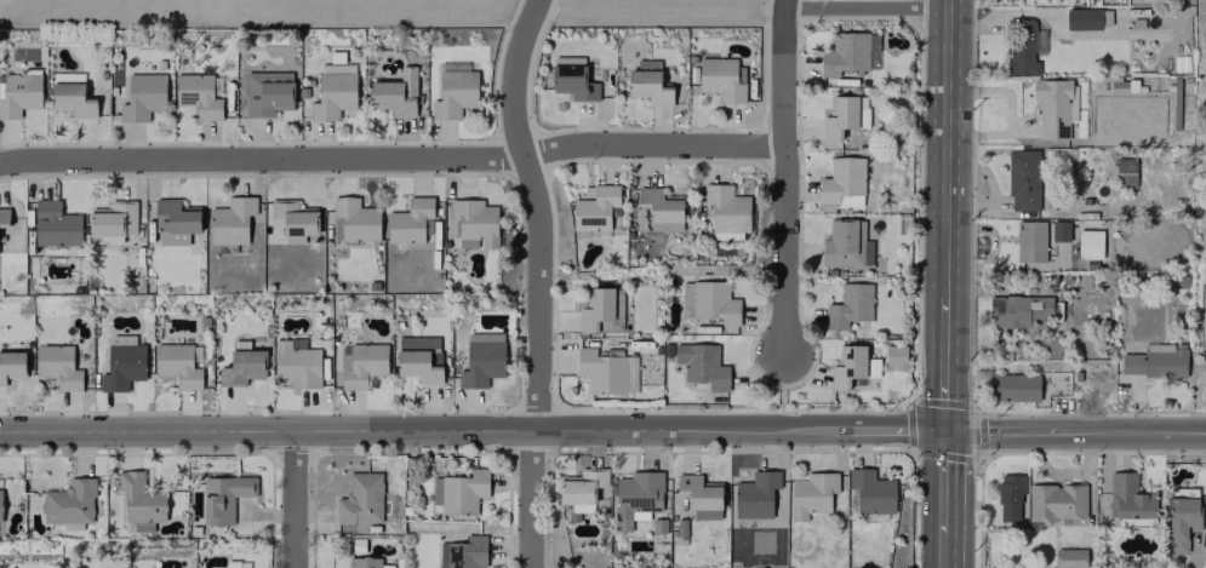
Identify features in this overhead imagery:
road: (864, 6)
building: (1082, 18)
building: (850, 53)
building: (63, 76)
building: (720, 79)
building: (572, 82)
building: (647, 82)
building: (333, 91)
building: (267, 92)
building: (19, 93)
building: (198, 93)
building: (395, 93)
building: (453, 93)
building: (142, 97)
building: (72, 99)
building: (1053, 107)
building: (841, 116)
road: (944, 139)
road: (390, 157)
building: (1125, 172)
road: (782, 177)
building: (1023, 179)
building: (842, 182)
building: (726, 207)
building: (595, 208)
building: (658, 210)
building: (295, 217)
building: (113, 218)
building: (356, 219)
building: (232, 220)
building: (408, 220)
building: (175, 222)
building: (475, 223)
building: (55, 224)
building: (1059, 230)
building: (726, 235)
building: (1030, 241)
building: (846, 243)
building: (1088, 243)
road: (536, 280)
building: (710, 300)
building: (848, 305)
building: (601, 309)
building: (1017, 310)
road: (943, 354)
building: (895, 356)
building: (419, 357)
building: (481, 358)
building: (1155, 360)
building: (122, 362)
building: (179, 363)
building: (11, 365)
building: (361, 365)
building: (702, 365)
building: (57, 366)
building: (295, 366)
building: (847, 366)
building: (241, 367)
building: (606, 371)
building: (1013, 388)
road: (1194, 401)
road: (470, 430)
road: (1074, 430)
building: (583, 486)
road: (941, 486)
building: (871, 490)
building: (458, 492)
building: (812, 493)
building: (755, 494)
building: (701, 495)
building: (1010, 495)
building: (223, 497)
building: (636, 498)
road: (291, 499)
building: (360, 499)
building: (141, 500)
building: (1130, 500)
building: (69, 501)
building: (1056, 501)
building: (0, 511)
building: (1181, 522)
building: (463, 552)
road: (938, 555)
building: (1069, 557)
building: (364, 562)
building: (238, 564)

